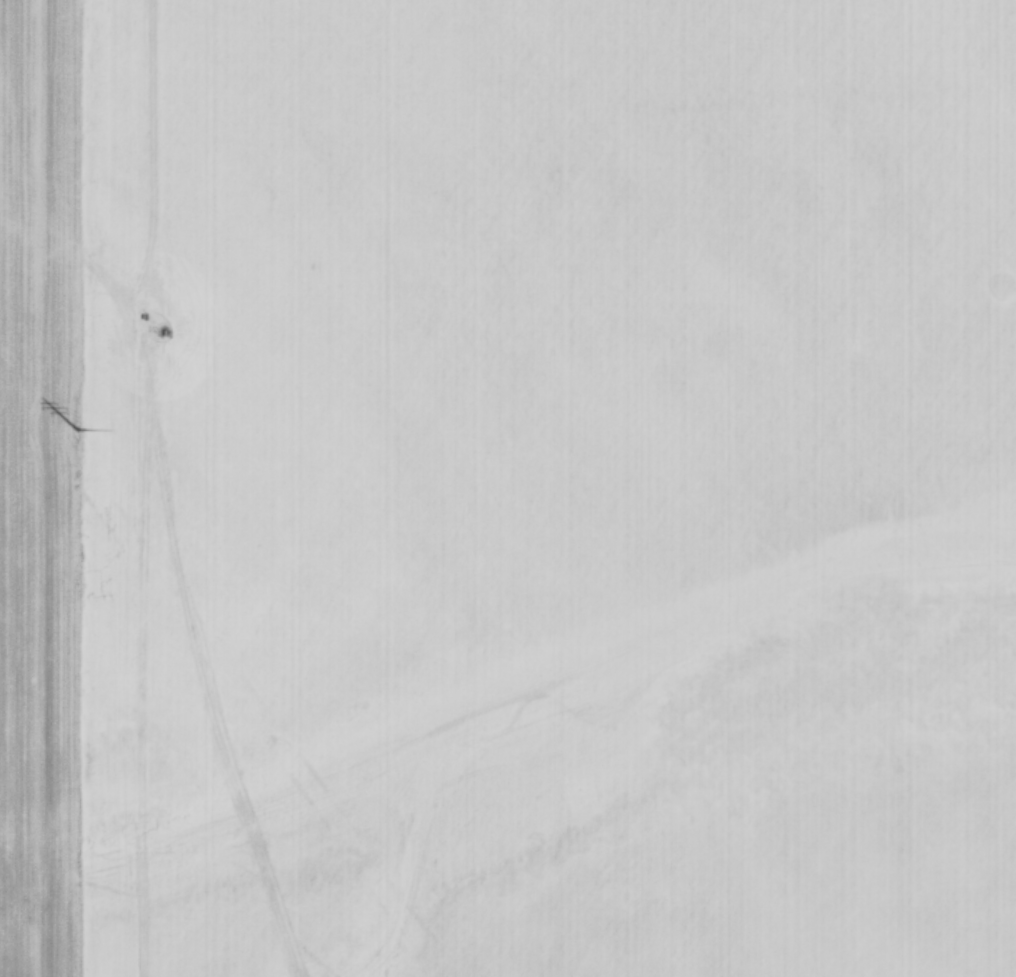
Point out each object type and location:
power tower: (74, 437)

